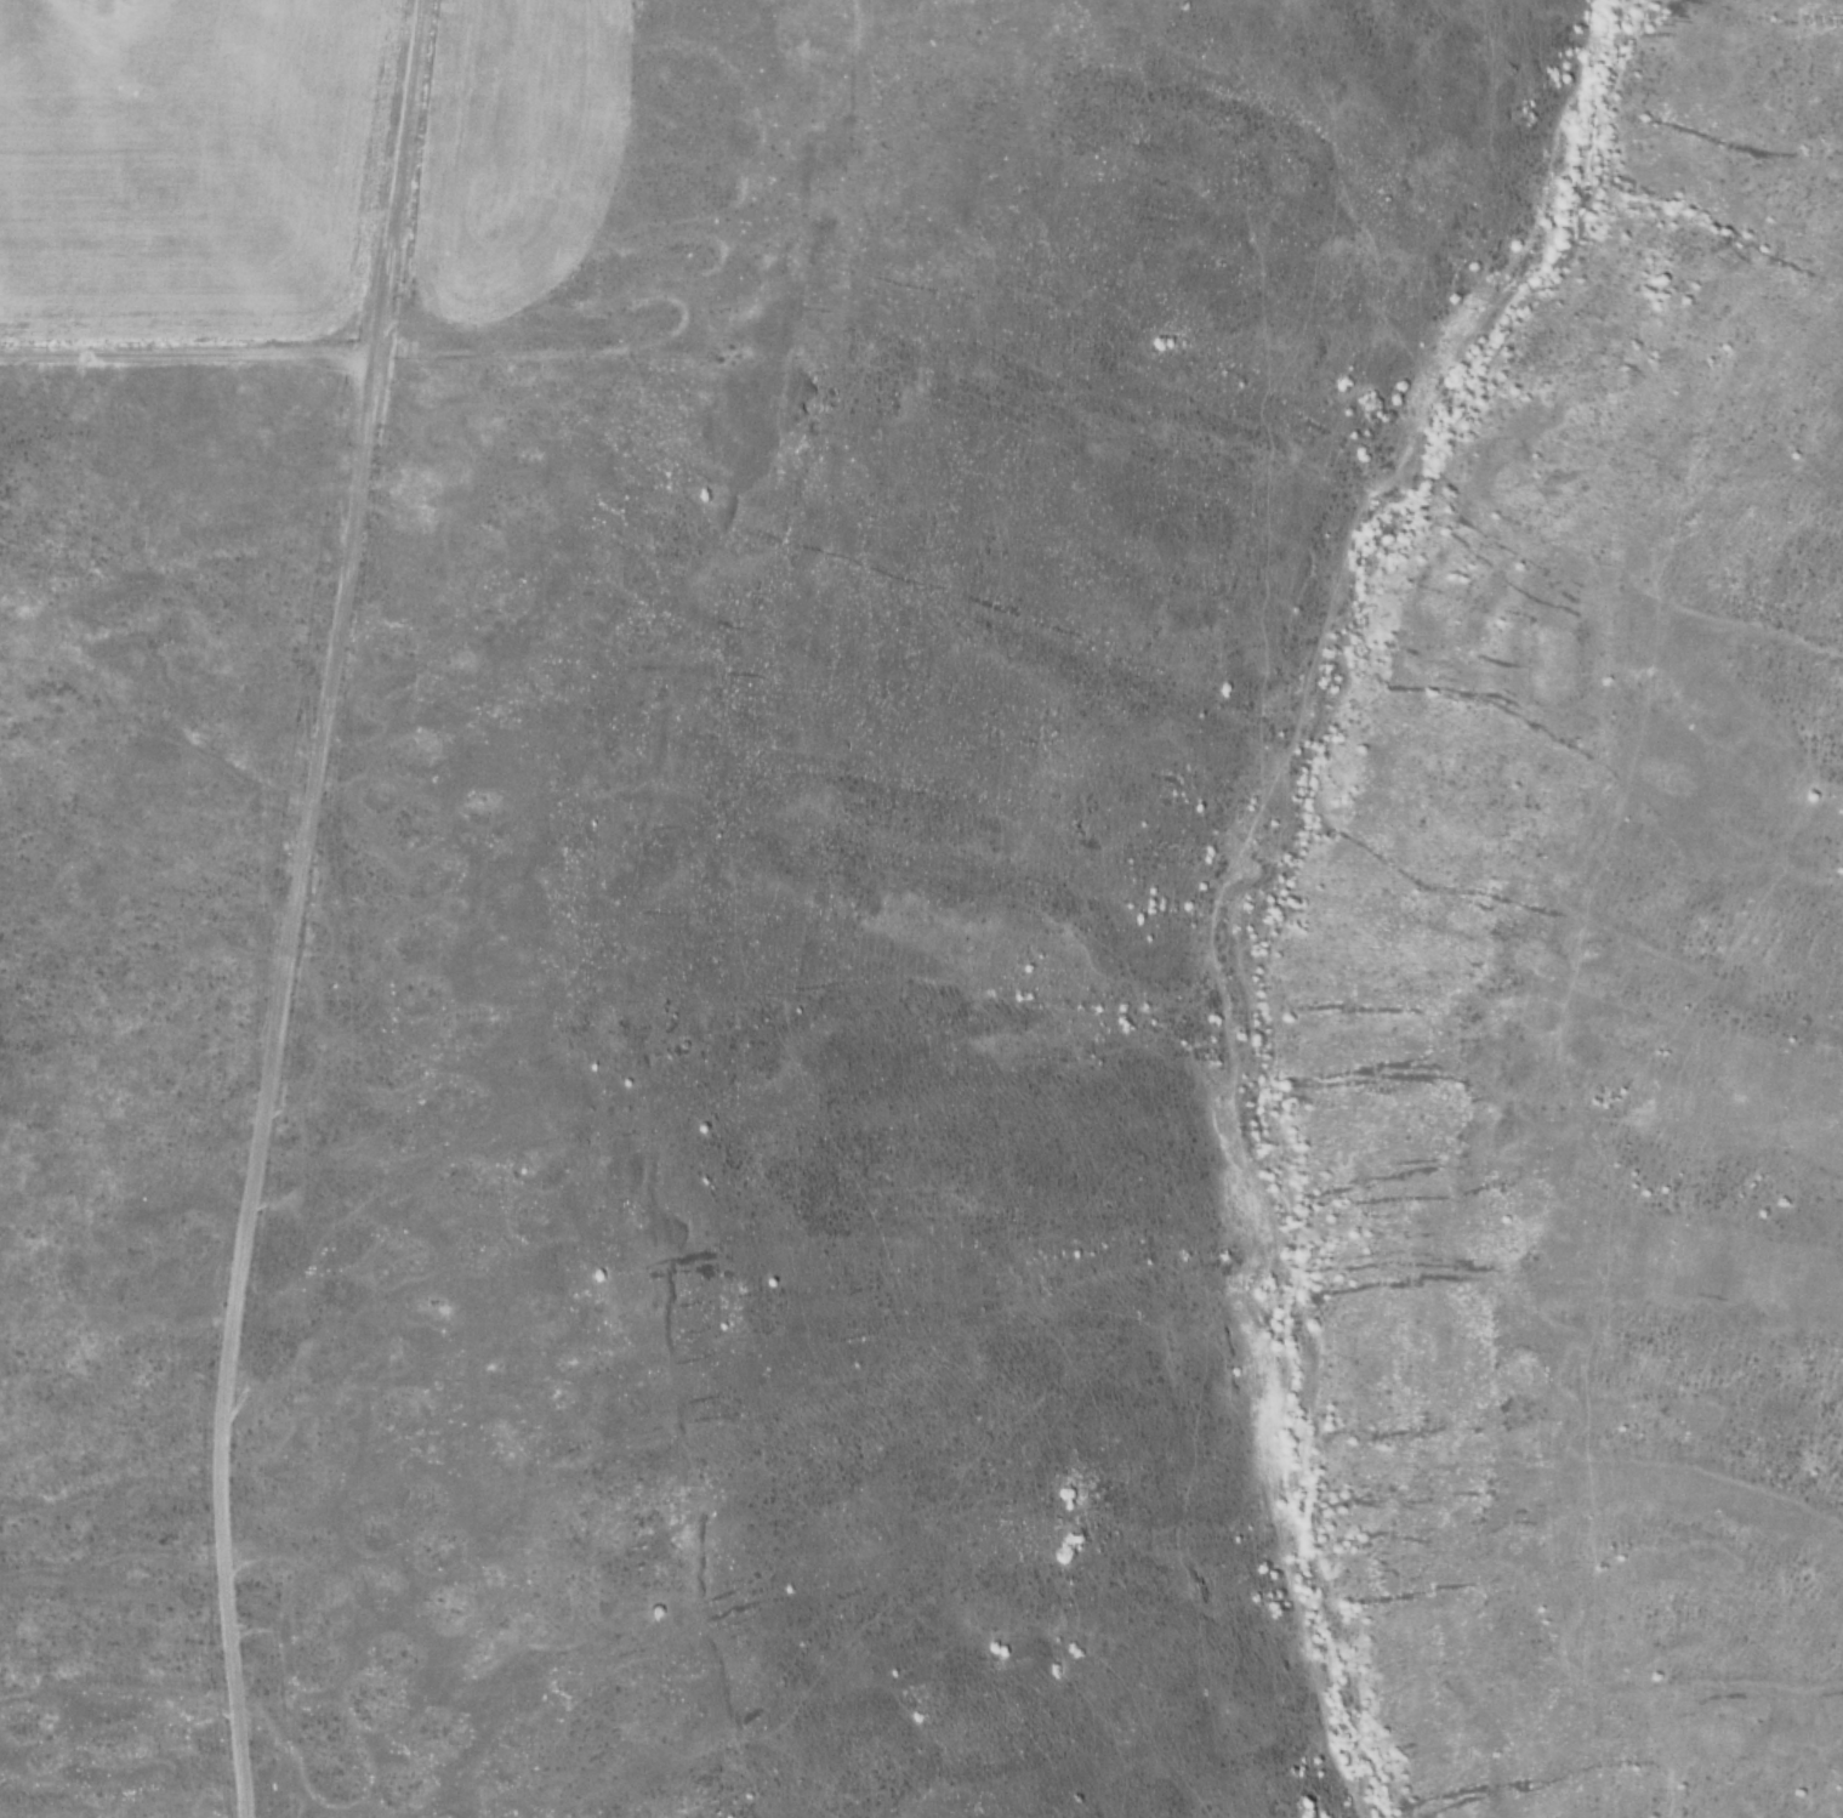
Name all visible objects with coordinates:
road: (295, 908)

